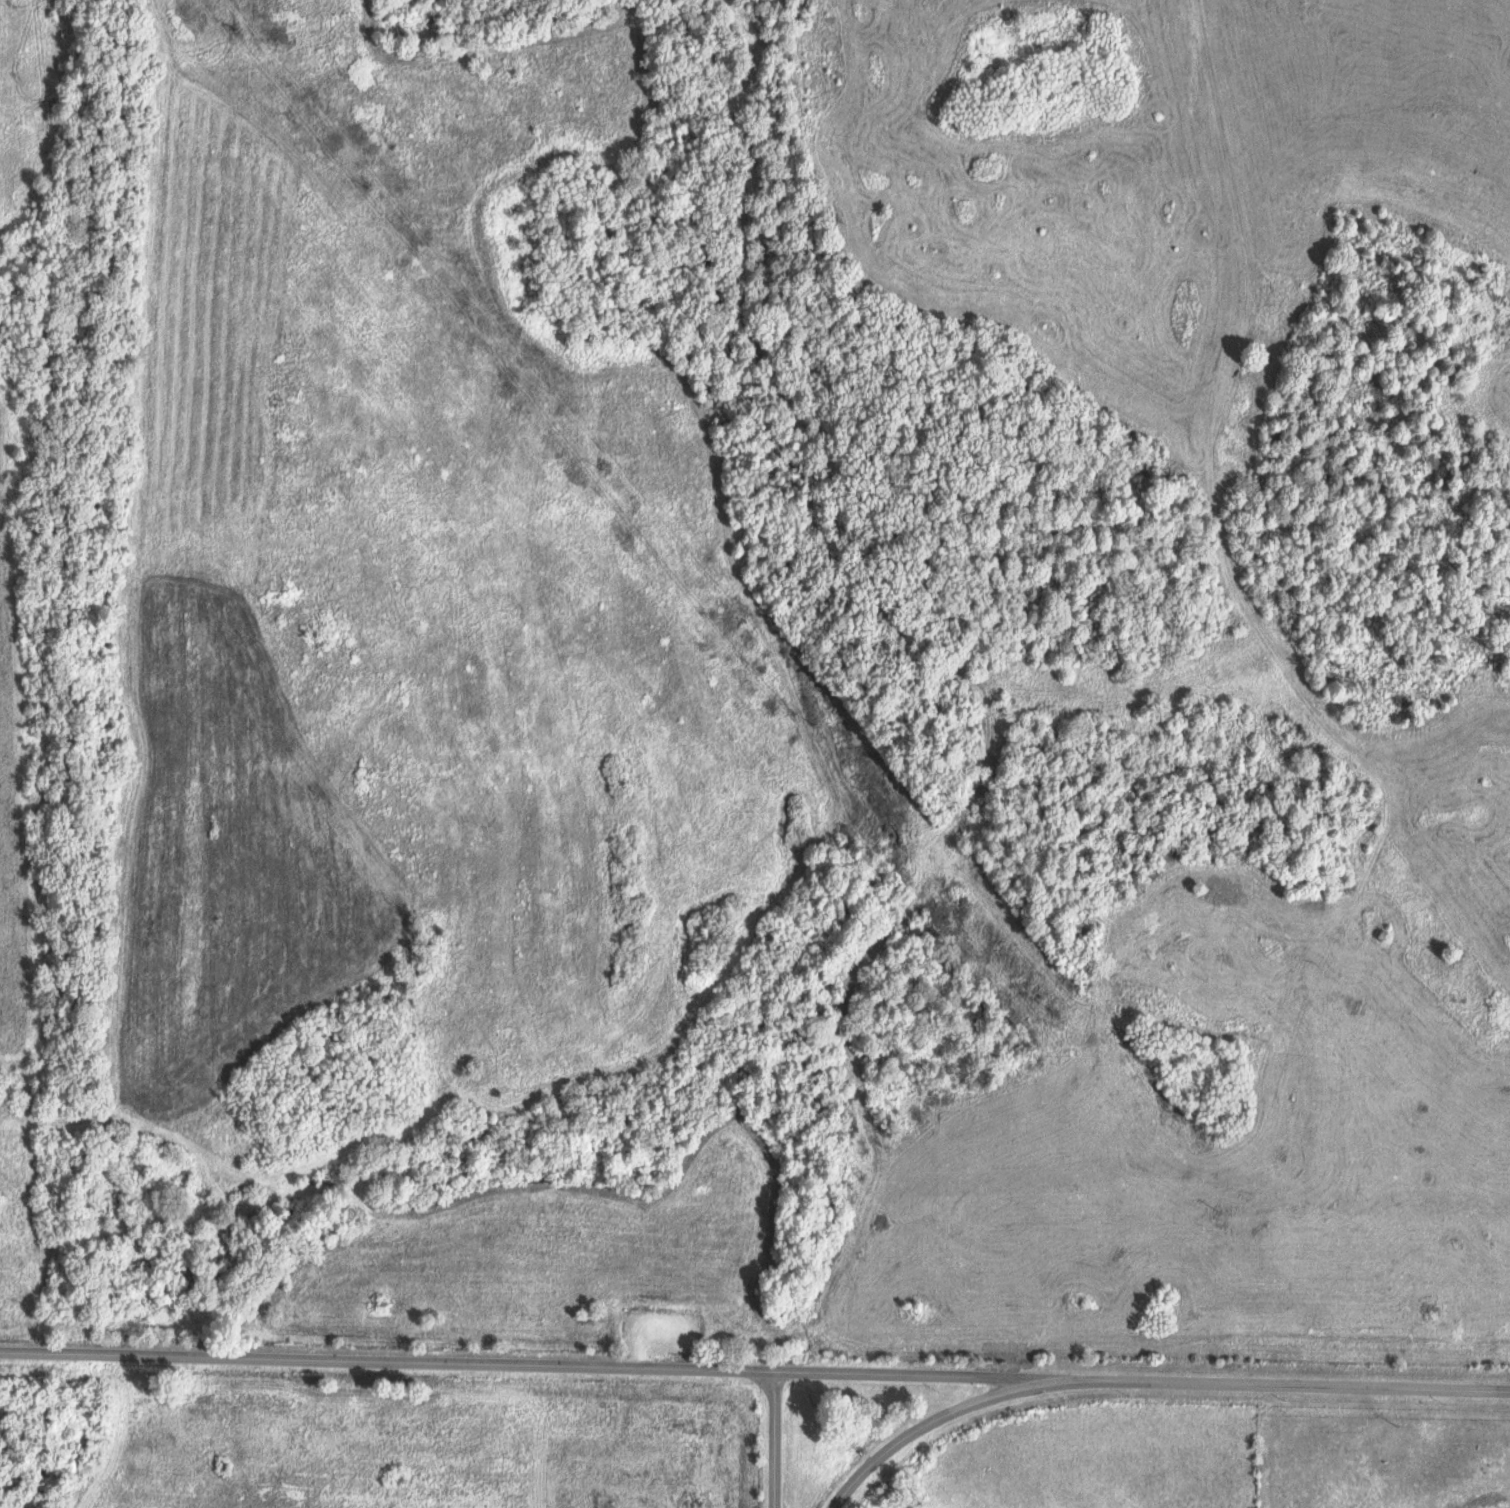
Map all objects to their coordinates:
road: (519, 1363)
road: (1274, 1382)
road: (922, 1423)
road: (771, 1438)

